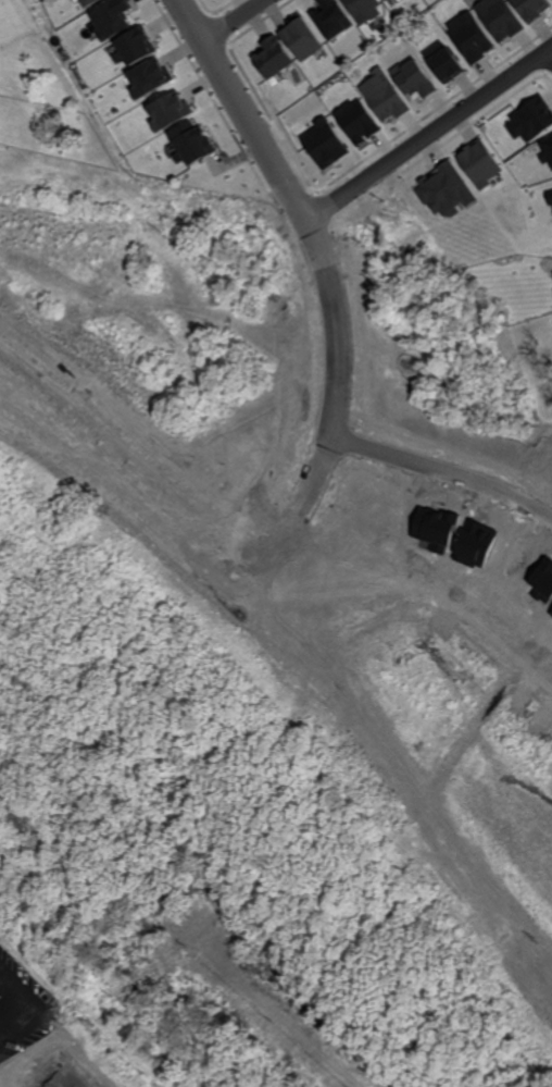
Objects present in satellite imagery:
building: (386, 0)
building: (90, 2)
building: (531, 9)
building: (361, 10)
building: (111, 18)
building: (331, 18)
building: (498, 18)
road: (231, 20)
building: (472, 37)
building: (301, 38)
building: (134, 46)
road: (550, 55)
building: (272, 57)
building: (443, 62)
building: (149, 78)
building: (413, 81)
building: (385, 96)
building: (167, 111)
building: (531, 119)
building: (357, 121)
road: (428, 137)
building: (191, 144)
building: (323, 145)
building: (548, 147)
building: (479, 164)
building: (447, 193)
building: (548, 197)
road: (296, 211)
road: (442, 478)
park: (210, 699)
road: (365, 778)
road: (18, 1005)

